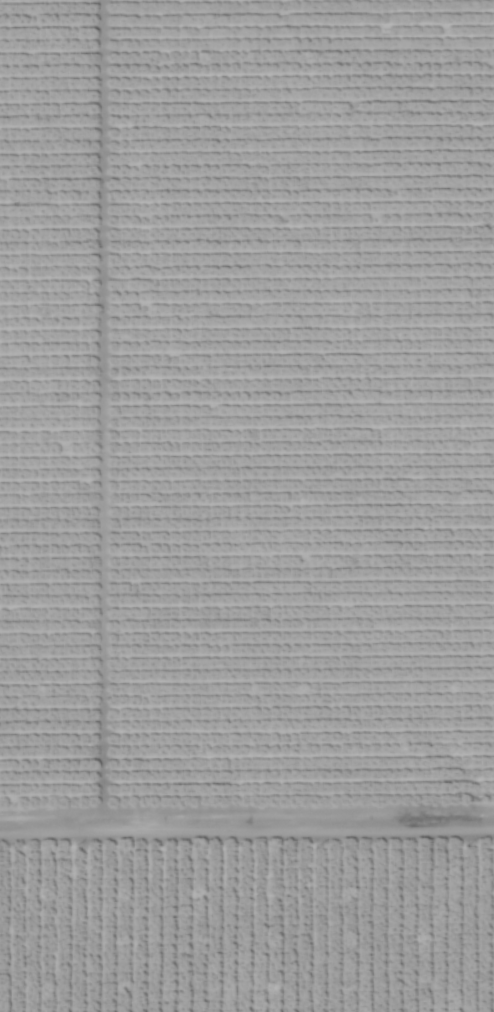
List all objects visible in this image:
road: (247, 826)

